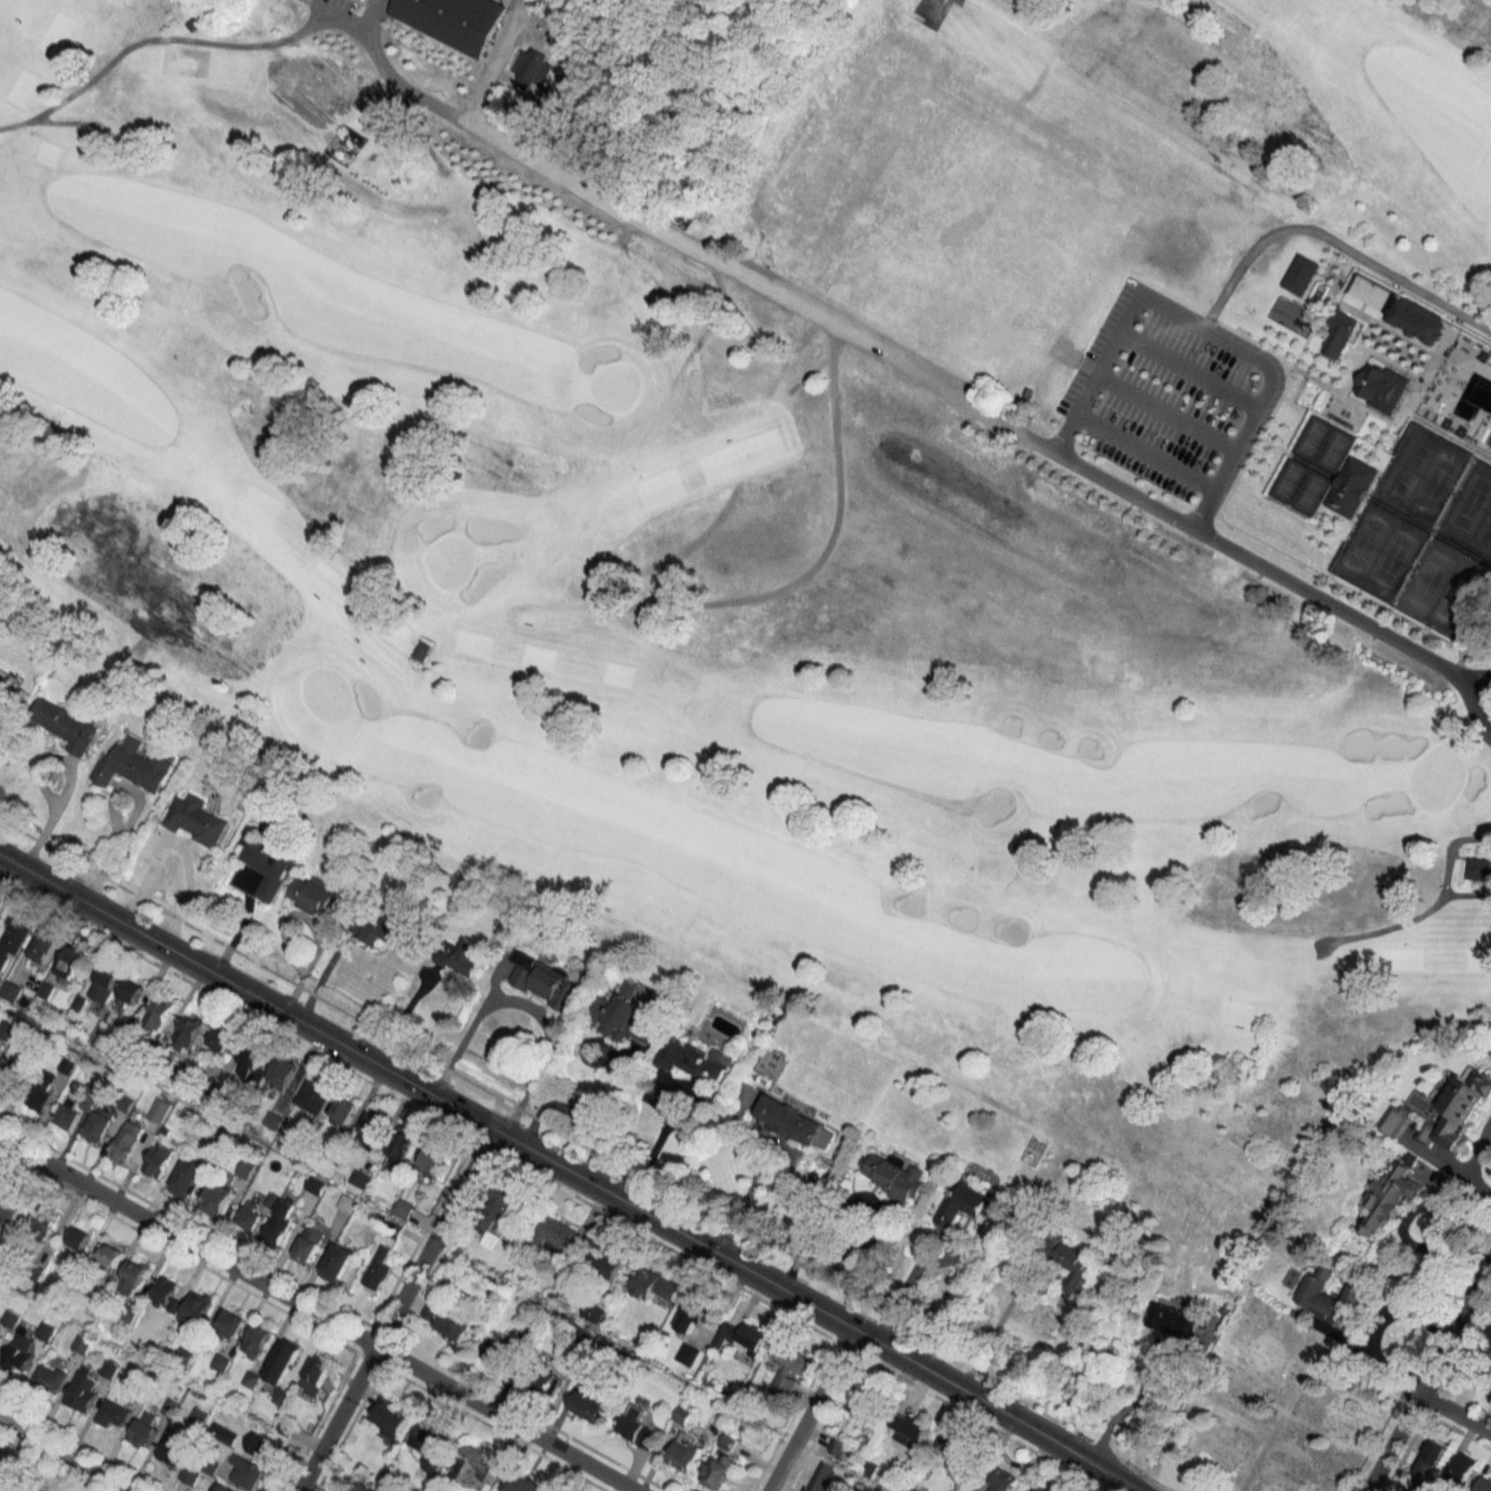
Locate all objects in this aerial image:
road: (338, 15)
building: (452, 18)
road: (154, 37)
road: (491, 60)
building: (528, 66)
road: (384, 70)
road: (61, 120)
road: (1337, 242)
road: (732, 268)
building: (1299, 273)
building: (1412, 318)
road: (1200, 329)
building: (1335, 331)
road: (1186, 369)
parking lot: (1156, 385)
building: (1378, 386)
building: (1434, 395)
road: (1163, 411)
park: (1309, 436)
flagpole: (1383, 438)
park: (1332, 448)
road: (1142, 450)
park: (1286, 478)
building: (1348, 485)
park: (821, 489)
park: (1308, 491)
park: (1468, 501)
park: (1484, 526)
park: (1362, 541)
park: (1389, 556)
road: (1265, 568)
park: (1427, 577)
park: (1455, 592)
road: (716, 601)
road: (336, 609)
building: (6, 681)
building: (65, 725)
building: (132, 766)
road: (68, 785)
building: (195, 820)
road: (178, 851)
road: (112, 853)
building: (269, 868)
building: (1476, 869)
road: (4, 870)
building: (317, 896)
road: (1426, 905)
building: (393, 932)
building: (13, 938)
building: (45, 947)
building: (465, 957)
building: (72, 962)
building: (544, 981)
building: (105, 984)
building: (130, 993)
road: (523, 1005)
building: (158, 1013)
building: (622, 1020)
building: (189, 1031)
building: (224, 1042)
building: (251, 1058)
building: (694, 1059)
building: (67, 1065)
building: (283, 1072)
building: (42, 1089)
road: (427, 1093)
building: (313, 1096)
building: (1461, 1108)
building: (160, 1110)
building: (343, 1111)
building: (71, 1112)
building: (795, 1122)
building: (102, 1123)
building: (373, 1125)
building: (126, 1141)
road: (653, 1143)
building: (401, 1146)
road: (1475, 1156)
building: (157, 1159)
building: (434, 1160)
building: (894, 1175)
building: (188, 1178)
building: (315, 1185)
building: (1387, 1195)
building: (217, 1200)
building: (962, 1205)
building: (496, 1206)
building: (11, 1213)
building: (251, 1215)
building: (41, 1225)
building: (278, 1225)
building: (559, 1233)
building: (79, 1238)
building: (308, 1245)
road: (922, 1252)
building: (110, 1254)
building: (336, 1262)
building: (607, 1262)
building: (1072, 1262)
building: (377, 1269)
building: (131, 1277)
building: (653, 1285)
building: (165, 1294)
building: (1327, 1300)
building: (196, 1308)
road: (394, 1310)
building: (593, 1312)
road: (315, 1315)
building: (692, 1317)
building: (1174, 1321)
building: (447, 1322)
building: (230, 1323)
road: (992, 1330)
building: (1490, 1330)
building: (46, 1331)
building: (0, 1333)
building: (743, 1336)
building: (255, 1339)
building: (82, 1344)
building: (502, 1352)
building: (20, 1353)
building: (688, 1354)
building: (282, 1360)
building: (109, 1369)
building: (789, 1369)
building: (317, 1370)
road: (1427, 1374)
building: (50, 1377)
building: (544, 1380)
building: (82, 1391)
road: (981, 1402)
building: (589, 1403)
building: (863, 1405)
road: (1123, 1408)
park: (1273, 1410)
road: (810, 1411)
building: (199, 1415)
building: (682, 1415)
road: (1454, 1415)
building: (388, 1417)
building: (637, 1427)
building: (910, 1429)
building: (142, 1431)
building: (224, 1433)
building: (259, 1444)
building: (940, 1447)
building: (172, 1448)
building: (431, 1448)
building: (840, 1448)
building: (685, 1451)
road: (63, 1455)
building: (962, 1458)
building: (1425, 1466)
building: (475, 1467)
building: (1460, 1470)
building: (246, 1471)
building: (718, 1471)
building: (190, 1474)
building: (819, 1477)
building: (1, 1478)
building: (1003, 1481)
road: (1123, 1482)
building: (524, 1483)
building: (1484, 1484)
building: (24, 1487)
building: (221, 1487)
building: (363, 1487)
building: (1042, 1488)

